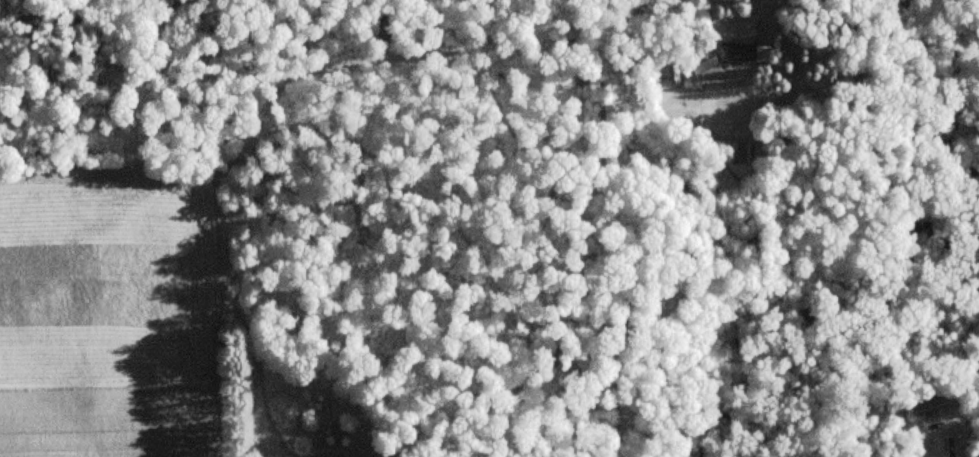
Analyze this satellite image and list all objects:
building: (743, 52)
building: (741, 153)
building: (933, 407)
road: (962, 412)

